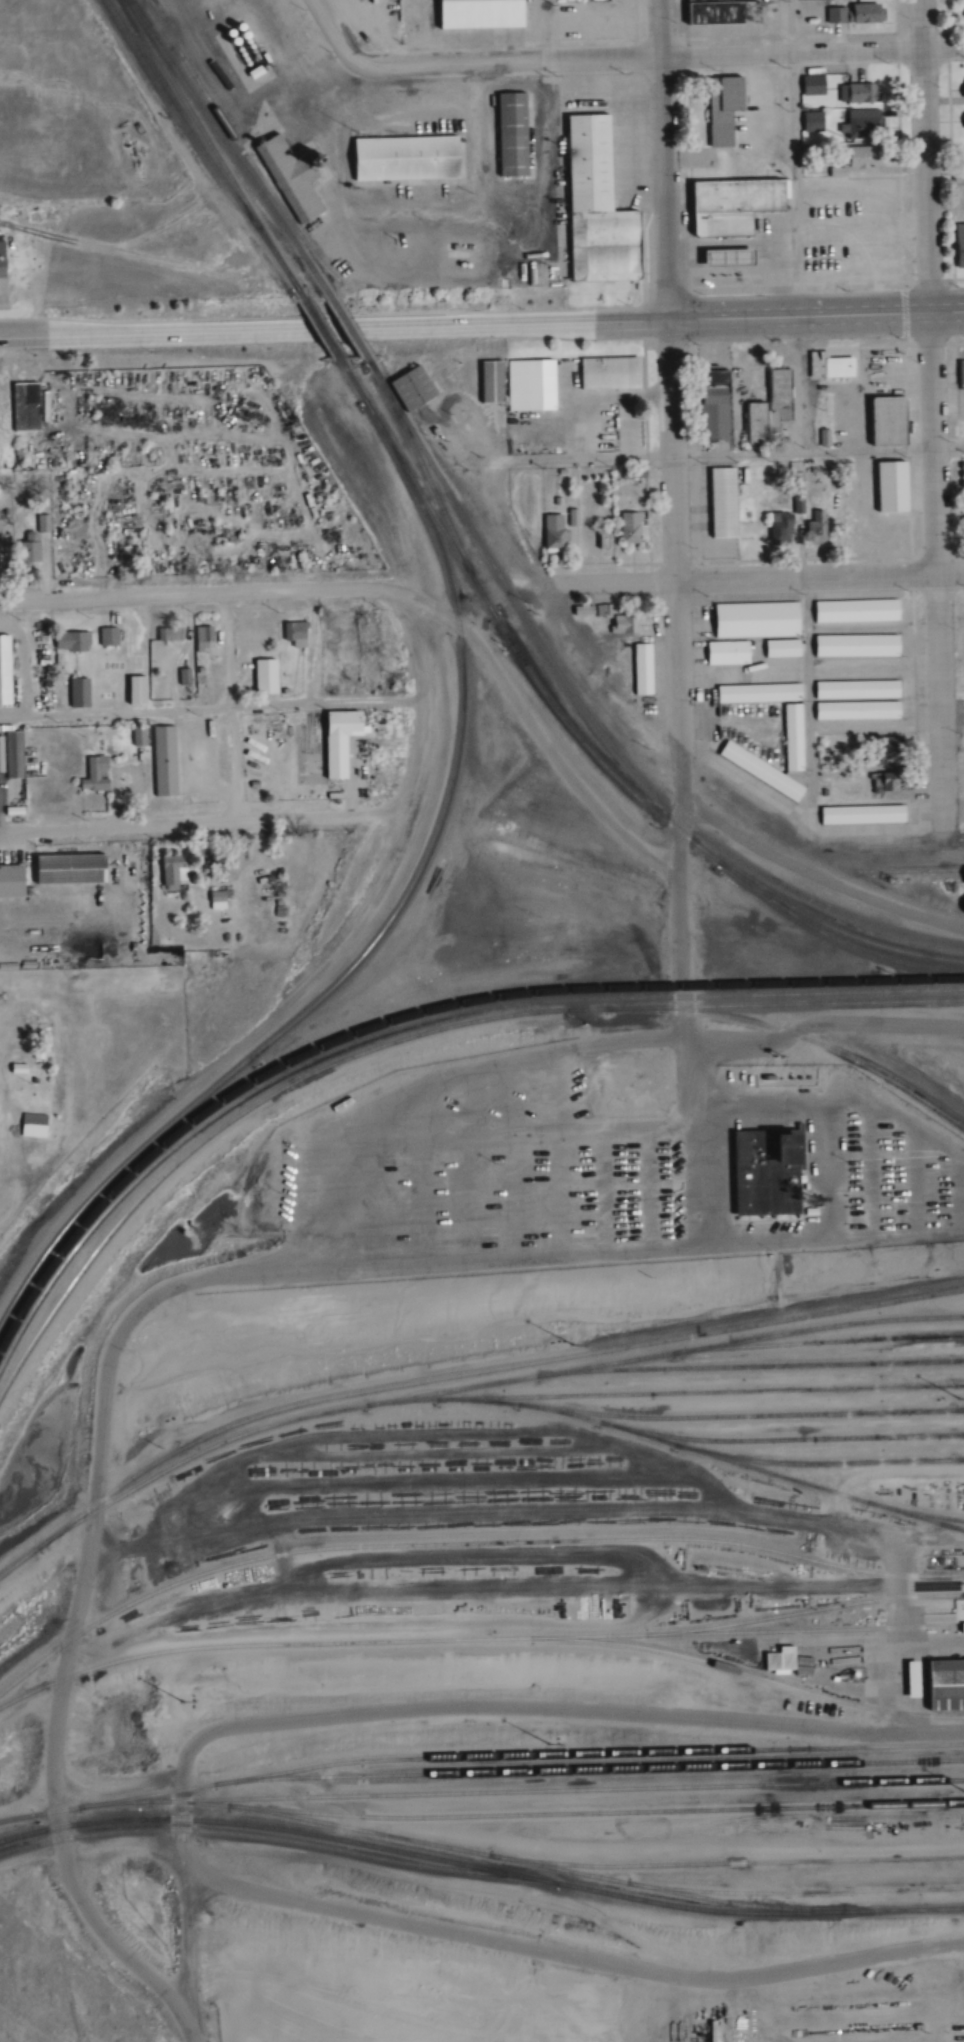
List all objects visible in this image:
building: (718, 12)
building: (962, 12)
building: (852, 13)
building: (472, 14)
road: (540, 31)
road: (333, 32)
building: (265, 57)
road: (660, 58)
building: (249, 73)
building: (808, 86)
building: (961, 88)
building: (857, 94)
building: (718, 110)
building: (961, 121)
building: (809, 122)
building: (860, 124)
building: (511, 133)
railway: (210, 144)
railway: (237, 144)
railway: (198, 147)
railway: (228, 150)
road: (795, 153)
building: (849, 154)
road: (663, 155)
building: (961, 157)
building: (403, 158)
building: (589, 164)
building: (290, 175)
building: (725, 206)
building: (391, 231)
building: (957, 246)
building: (603, 247)
building: (453, 248)
building: (5, 258)
building: (719, 258)
railway: (302, 293)
road: (880, 304)
road: (732, 309)
road: (607, 313)
road: (326, 320)
road: (52, 327)
railway: (322, 328)
railway: (348, 329)
building: (814, 365)
building: (513, 369)
building: (604, 373)
building: (959, 375)
building: (489, 383)
building: (537, 385)
building: (409, 387)
road: (330, 393)
building: (706, 405)
building: (30, 406)
building: (766, 409)
road: (932, 412)
building: (881, 422)
building: (430, 431)
road: (431, 453)
road: (674, 455)
building: (560, 472)
building: (631, 474)
railway: (433, 494)
building: (557, 502)
building: (721, 503)
building: (571, 517)
building: (627, 527)
building: (817, 527)
building: (848, 527)
building: (776, 530)
building: (550, 534)
building: (598, 540)
road: (674, 555)
road: (754, 578)
railway: (500, 583)
road: (205, 593)
railway: (481, 599)
building: (599, 610)
building: (856, 611)
building: (580, 613)
building: (756, 619)
building: (622, 625)
building: (175, 633)
building: (300, 633)
building: (112, 637)
building: (208, 639)
building: (82, 641)
building: (855, 646)
building: (781, 649)
building: (727, 653)
road: (27, 658)
building: (641, 671)
building: (188, 676)
building: (272, 677)
building: (143, 690)
building: (855, 691)
building: (84, 693)
building: (756, 694)
road: (592, 703)
road: (215, 705)
road: (427, 711)
building: (855, 712)
road: (536, 735)
building: (791, 737)
building: (347, 741)
road: (951, 748)
building: (877, 752)
building: (18, 754)
building: (169, 760)
building: (101, 774)
building: (757, 775)
building: (882, 786)
building: (823, 794)
building: (860, 816)
road: (185, 822)
railway: (910, 845)
building: (78, 868)
building: (178, 870)
railway: (909, 870)
road: (815, 879)
building: (15, 880)
railway: (798, 891)
building: (221, 900)
railway: (800, 910)
railway: (832, 936)
railway: (364, 948)
railway: (418, 1011)
railway: (416, 1024)
road: (824, 1025)
railway: (774, 1032)
railway: (411, 1036)
building: (40, 1119)
building: (760, 1174)
road: (242, 1270)
railway: (815, 1344)
railway: (750, 1366)
railway: (460, 1375)
railway: (482, 1385)
railway: (711, 1393)
railway: (754, 1415)
railway: (783, 1440)
railway: (674, 1445)
railway: (822, 1464)
railway: (903, 1510)
railway: (950, 1526)
railway: (465, 1544)
railway: (802, 1612)
railway: (476, 1640)
building: (775, 1659)
railway: (745, 1673)
building: (904, 1680)
building: (944, 1685)
road: (511, 1706)
railway: (528, 1756)
railway: (963, 1761)
railway: (604, 1770)
railway: (558, 1791)
railway: (124, 1802)
railway: (47, 1812)
railway: (601, 1813)
railway: (251, 1835)
railway: (722, 1863)
railway: (556, 1870)
railway: (480, 1871)
road: (190, 1949)
road: (572, 1956)

